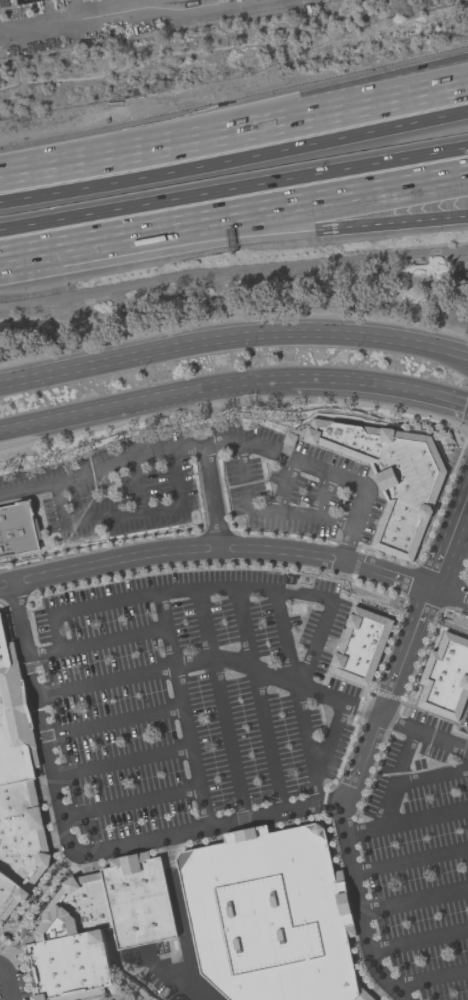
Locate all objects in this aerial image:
road: (129, 11)
road: (319, 102)
road: (319, 115)
road: (85, 161)
road: (234, 162)
road: (234, 190)
road: (309, 203)
road: (309, 226)
road: (75, 244)
road: (232, 339)
road: (379, 383)
road: (143, 402)
road: (222, 445)
building: (391, 479)
road: (139, 486)
road: (283, 488)
road: (212, 498)
road: (324, 499)
road: (268, 514)
road: (128, 516)
building: (18, 532)
road: (235, 549)
road: (198, 589)
road: (328, 628)
road: (284, 640)
road: (99, 642)
road: (404, 649)
road: (166, 669)
building: (447, 681)
road: (261, 702)
road: (222, 706)
road: (186, 713)
building: (13, 722)
road: (115, 723)
road: (380, 723)
road: (329, 735)
road: (124, 764)
road: (432, 774)
road: (395, 783)
road: (318, 791)
road: (132, 804)
road: (407, 823)
road: (172, 840)
building: (20, 845)
road: (411, 863)
road: (416, 904)
building: (270, 917)
road: (182, 920)
building: (98, 927)
road: (420, 943)
road: (429, 981)
road: (4, 986)

